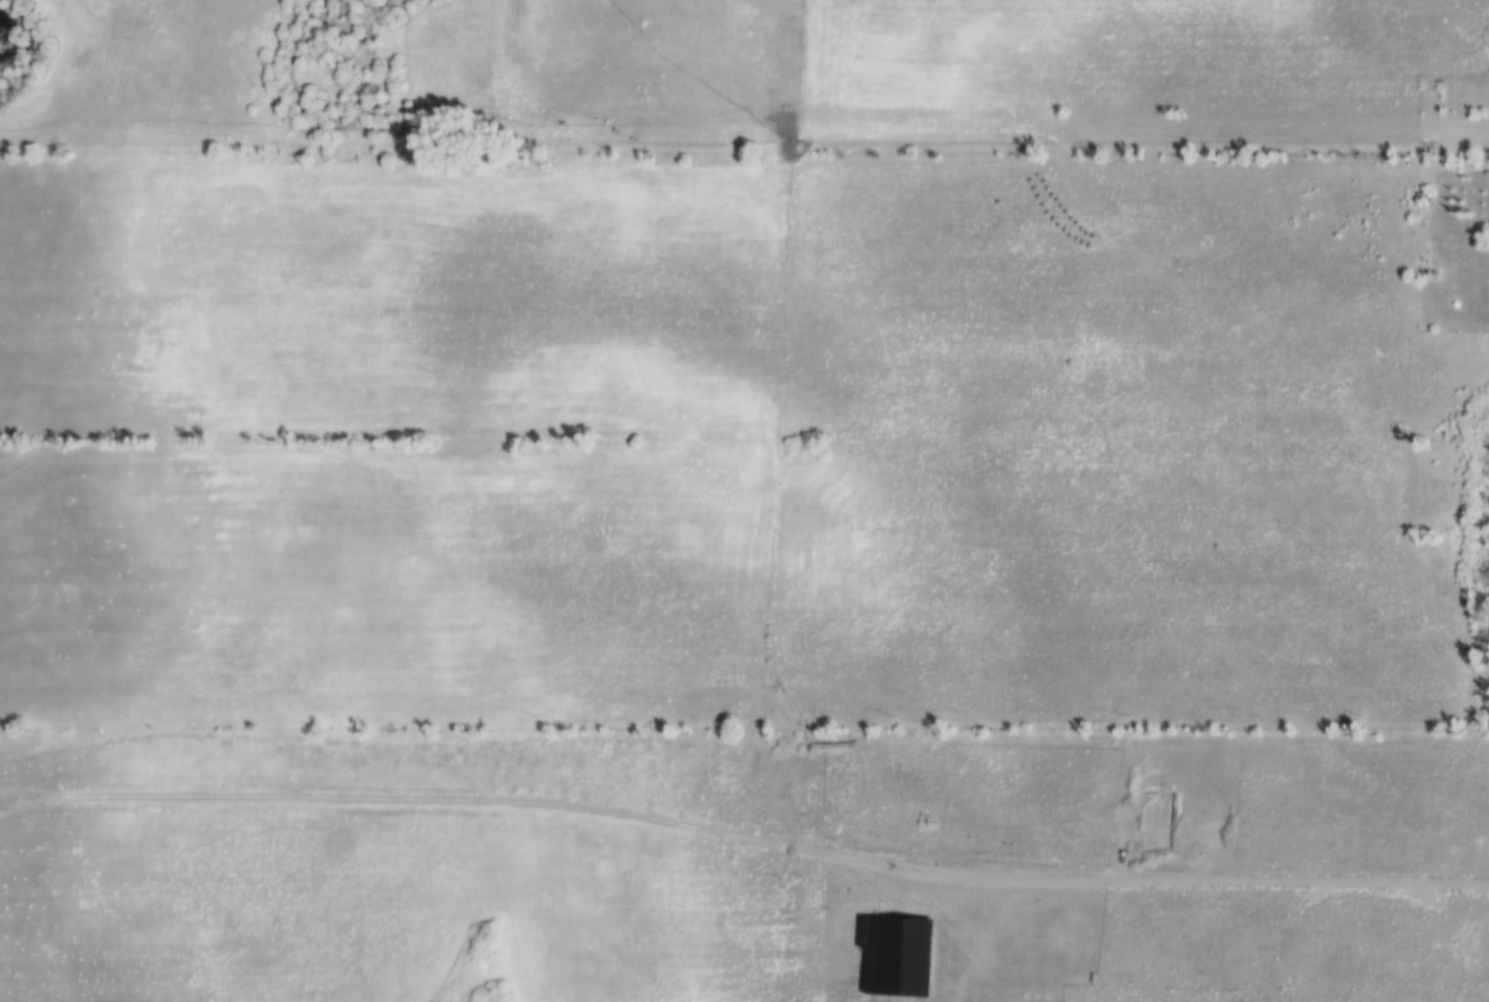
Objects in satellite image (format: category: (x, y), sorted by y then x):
road: (1397, 537)

